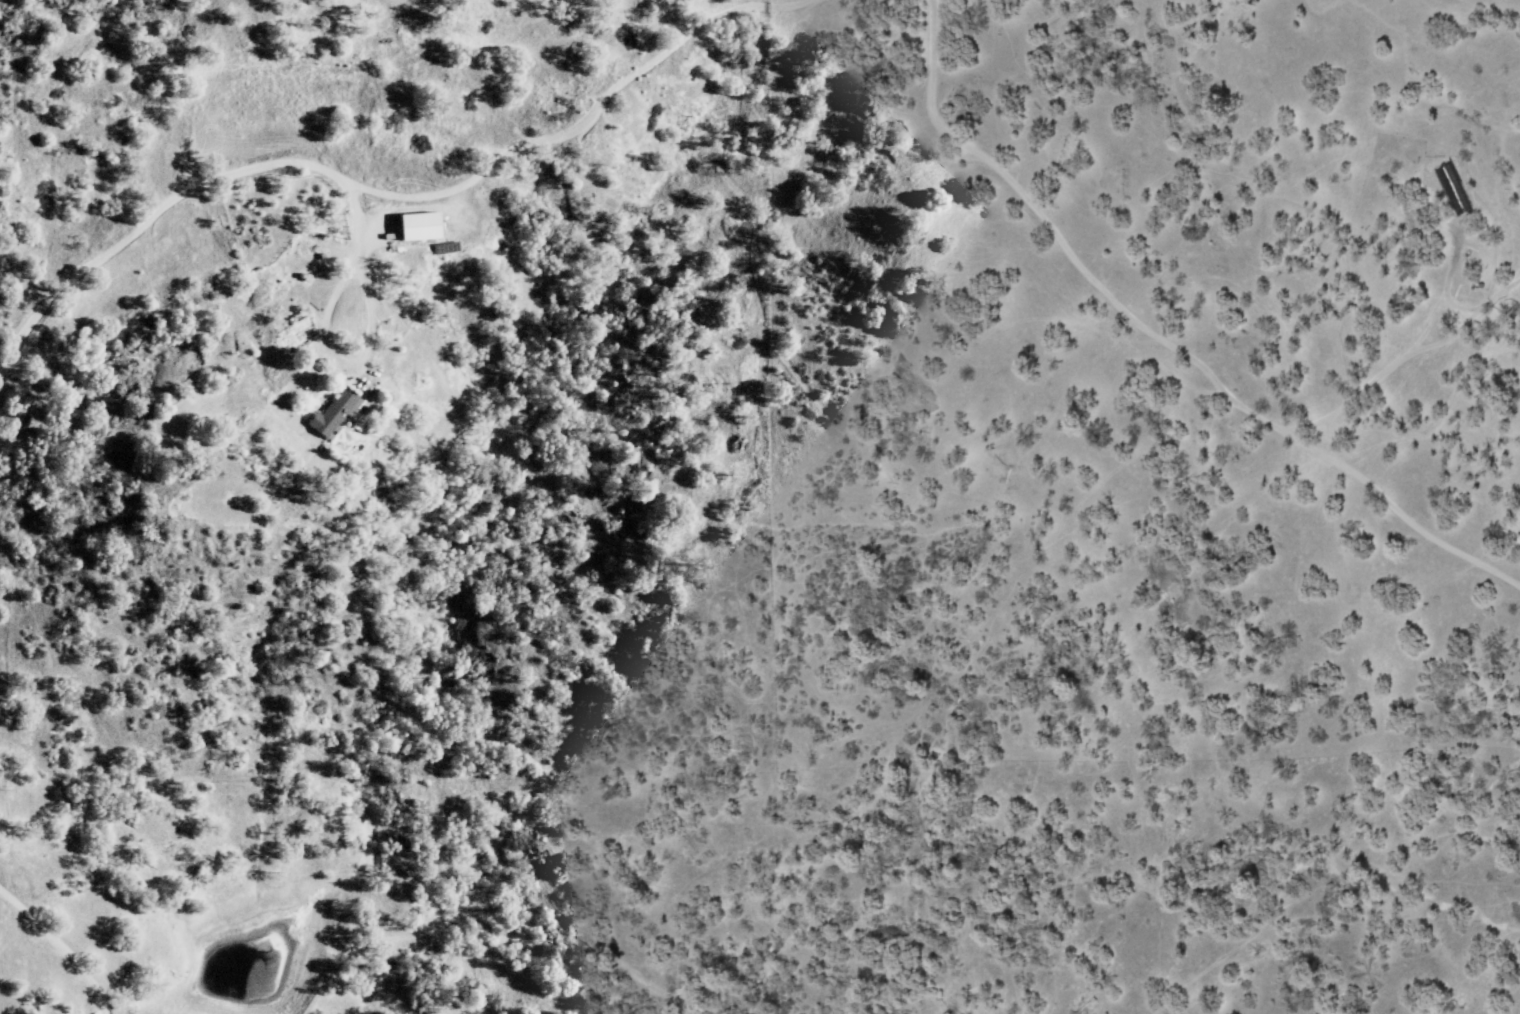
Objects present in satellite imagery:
road: (636, 66)
road: (208, 184)
building: (422, 227)
road: (324, 333)
road: (1162, 337)
road: (1405, 358)
building: (337, 414)
road: (1334, 436)
road: (62, 945)

